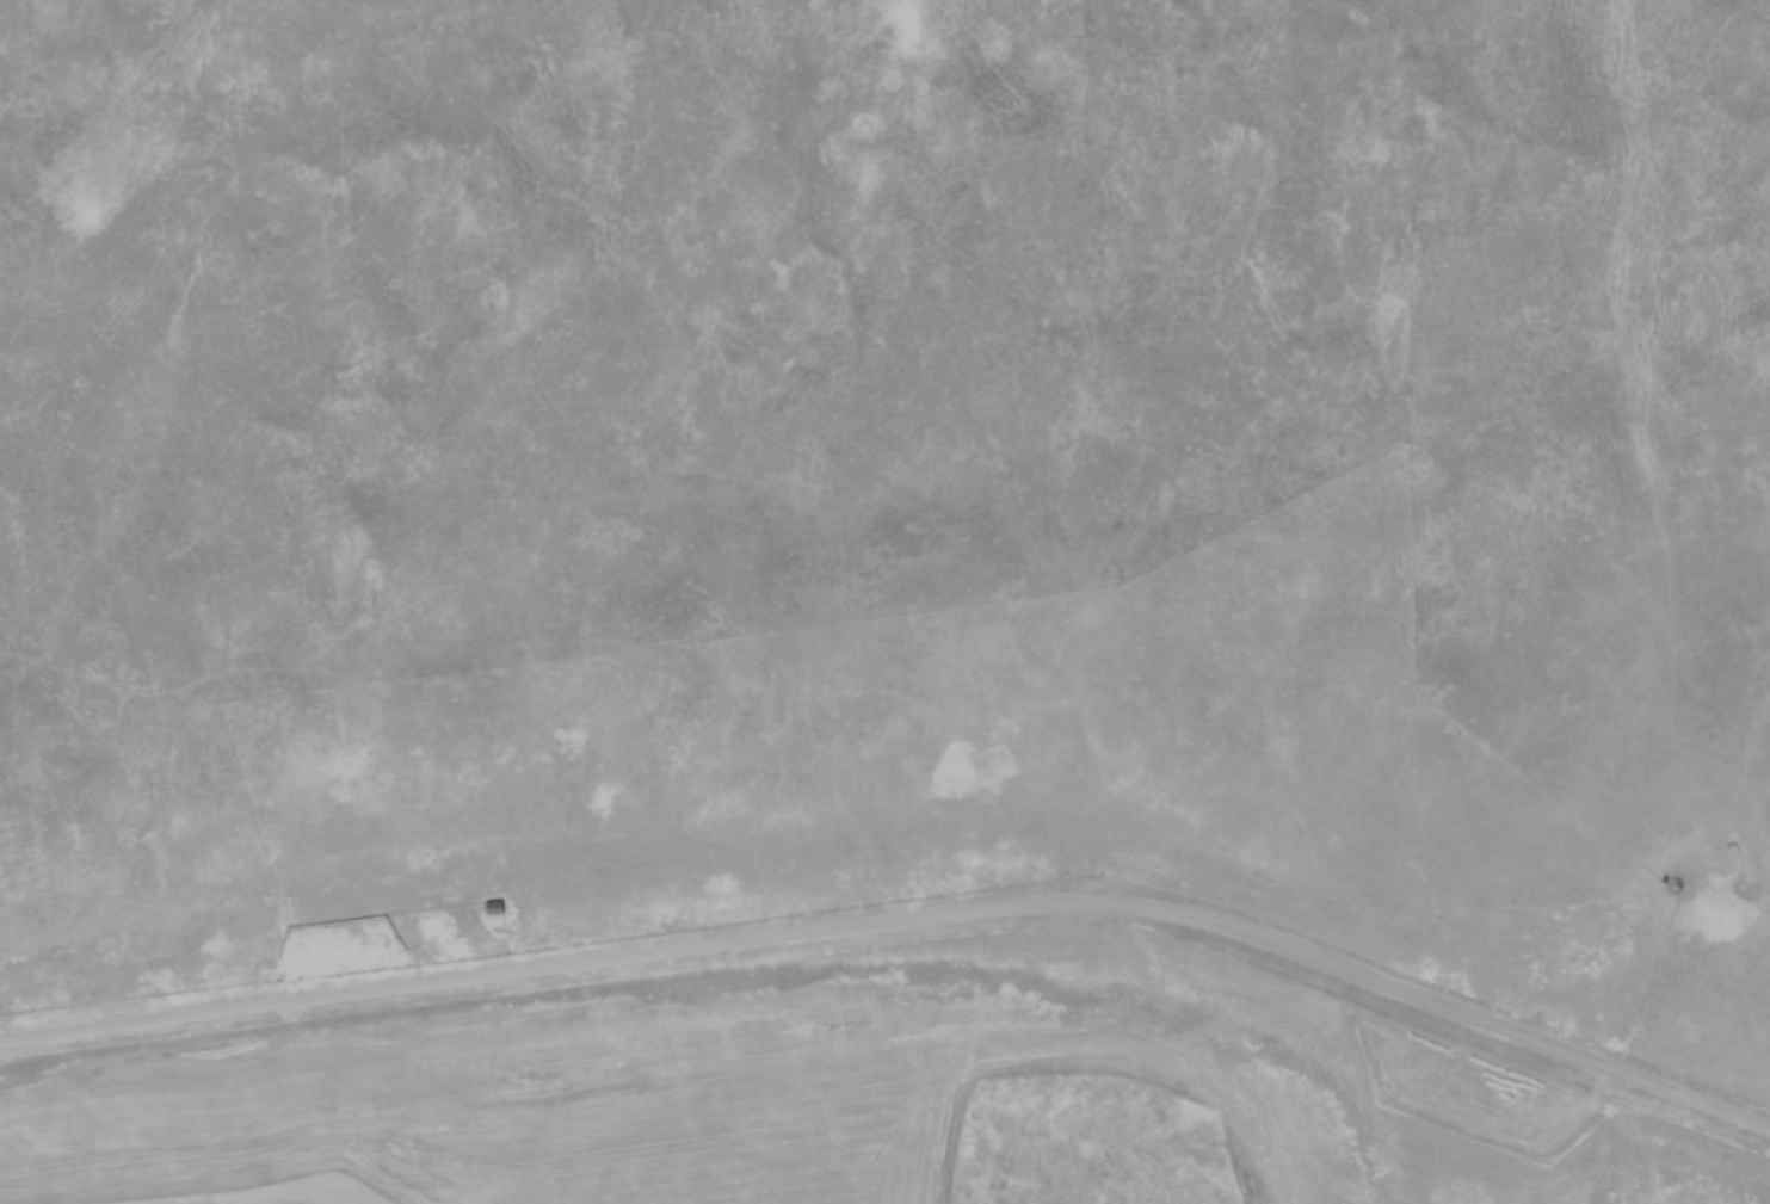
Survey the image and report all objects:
road: (900, 926)

